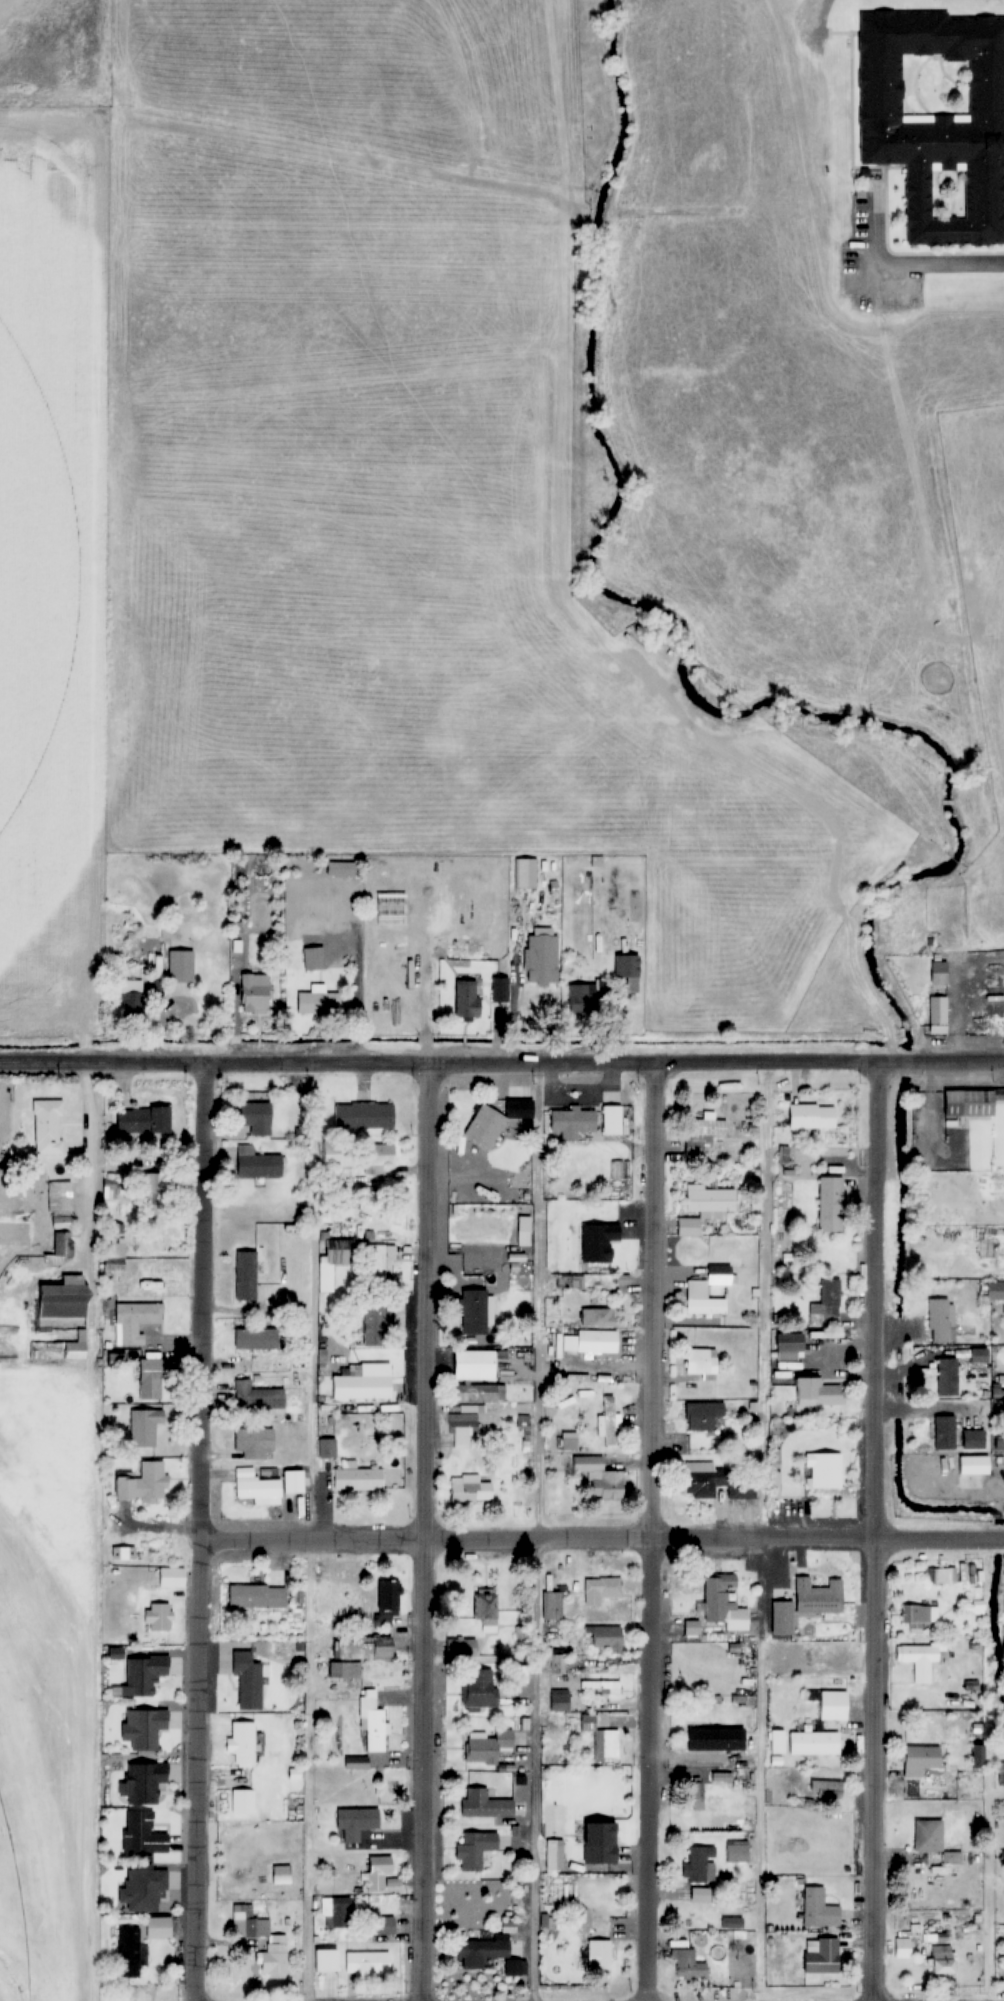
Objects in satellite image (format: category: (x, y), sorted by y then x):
building: (937, 119)
road: (907, 263)
crop: (517, 477)
building: (341, 868)
building: (524, 873)
building: (313, 958)
building: (542, 960)
building: (181, 965)
building: (628, 971)
building: (939, 972)
building: (500, 989)
building: (255, 992)
building: (132, 998)
building: (583, 998)
building: (467, 999)
building: (318, 1002)
building: (940, 1009)
road: (550, 1060)
road: (48, 1061)
building: (972, 1102)
building: (364, 1116)
building: (256, 1117)
building: (813, 1117)
building: (143, 1120)
building: (613, 1120)
building: (573, 1123)
building: (47, 1126)
building: (485, 1126)
building: (704, 1135)
building: (337, 1153)
building: (375, 1157)
building: (258, 1163)
building: (158, 1183)
building: (109, 1186)
building: (710, 1200)
building: (59, 1205)
building: (831, 1205)
building: (689, 1226)
building: (63, 1246)
building: (378, 1263)
building: (246, 1275)
building: (622, 1284)
building: (697, 1291)
building: (996, 1291)
building: (65, 1299)
building: (829, 1301)
building: (474, 1311)
building: (597, 1317)
building: (942, 1320)
building: (134, 1321)
building: (375, 1322)
building: (256, 1339)
building: (598, 1341)
building: (790, 1347)
building: (59, 1348)
building: (979, 1355)
building: (115, 1360)
building: (700, 1361)
building: (475, 1364)
building: (948, 1377)
building: (150, 1379)
building: (361, 1385)
building: (820, 1391)
building: (481, 1392)
building: (256, 1396)
building: (703, 1415)
building: (607, 1421)
building: (144, 1426)
building: (461, 1429)
building: (945, 1432)
building: (974, 1438)
building: (1000, 1439)
building: (253, 1442)
building: (326, 1447)
building: (973, 1465)
building: (824, 1470)
building: (358, 1477)
building: (600, 1478)
building: (703, 1479)
building: (144, 1483)
building: (256, 1488)
building: (473, 1489)
road: (198, 1530)
road: (537, 1530)
road: (650, 1530)
road: (761, 1530)
road: (874, 1530)
road: (424, 1531)
road: (600, 1535)
building: (123, 1552)
building: (170, 1577)
building: (600, 1589)
building: (256, 1596)
road: (308, 1596)
building: (388, 1601)
building: (722, 1603)
building: (552, 1605)
building: (979, 1608)
building: (487, 1609)
building: (157, 1616)
building: (919, 1616)
building: (605, 1638)
building: (461, 1647)
building: (363, 1648)
building: (918, 1660)
building: (552, 1662)
building: (344, 1670)
building: (143, 1674)
building: (519, 1675)
building: (247, 1681)
building: (480, 1687)
building: (599, 1687)
building: (558, 1699)
building: (833, 1705)
building: (372, 1722)
building: (144, 1728)
building: (601, 1736)
building: (715, 1740)
building: (241, 1742)
building: (803, 1743)
building: (487, 1746)
building: (978, 1756)
building: (921, 1760)
building: (356, 1763)
building: (144, 1782)
building: (827, 1790)
building: (242, 1802)
building: (484, 1804)
building: (355, 1822)
building: (143, 1834)
building: (929, 1835)
building: (600, 1843)
building: (475, 1850)
building: (736, 1851)
building: (553, 1854)
building: (699, 1865)
building: (377, 1871)
building: (143, 1889)
building: (700, 1895)
building: (818, 1908)
building: (335, 1912)
building: (686, 1924)
building: (383, 1925)
building: (157, 1927)
building: (276, 1944)
building: (901, 1947)
building: (127, 1952)
building: (481, 1952)
building: (598, 1953)
building: (820, 1955)
building: (943, 1959)
building: (366, 1963)
building: (688, 1965)

